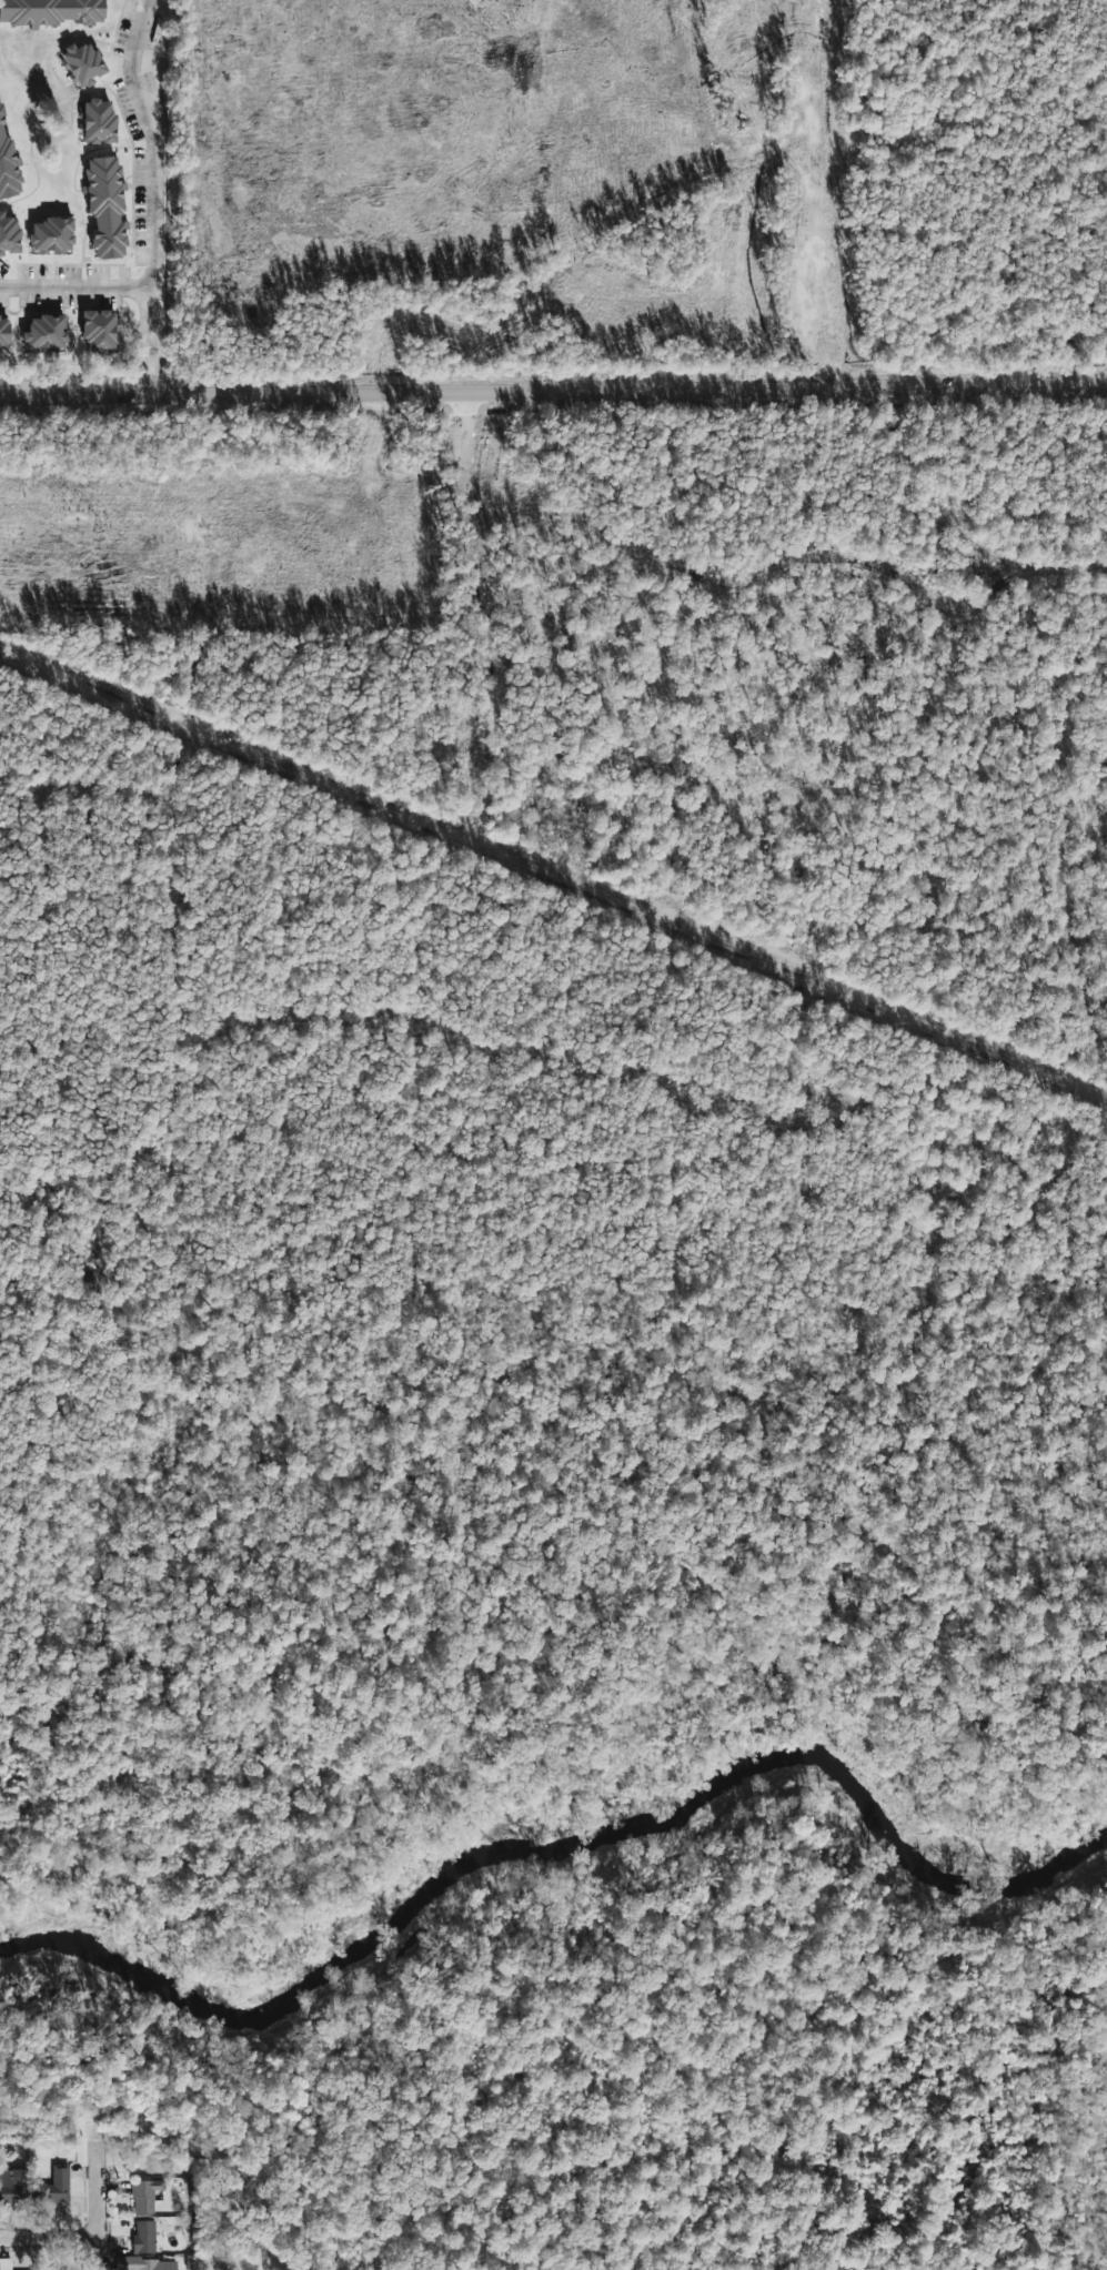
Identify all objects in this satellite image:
building: (51, 11)
building: (81, 63)
building: (98, 122)
building: (8, 164)
road: (151, 195)
building: (104, 206)
building: (9, 234)
building: (51, 235)
road: (72, 286)
building: (99, 331)
building: (44, 332)
building: (4, 333)
road: (553, 391)
river: (576, 1855)
road: (82, 2136)
road: (170, 2148)
building: (14, 2185)
building: (59, 2185)
building: (145, 2196)
road: (95, 2205)
road: (48, 2237)
building: (144, 2237)
building: (6, 2264)
building: (155, 2264)

